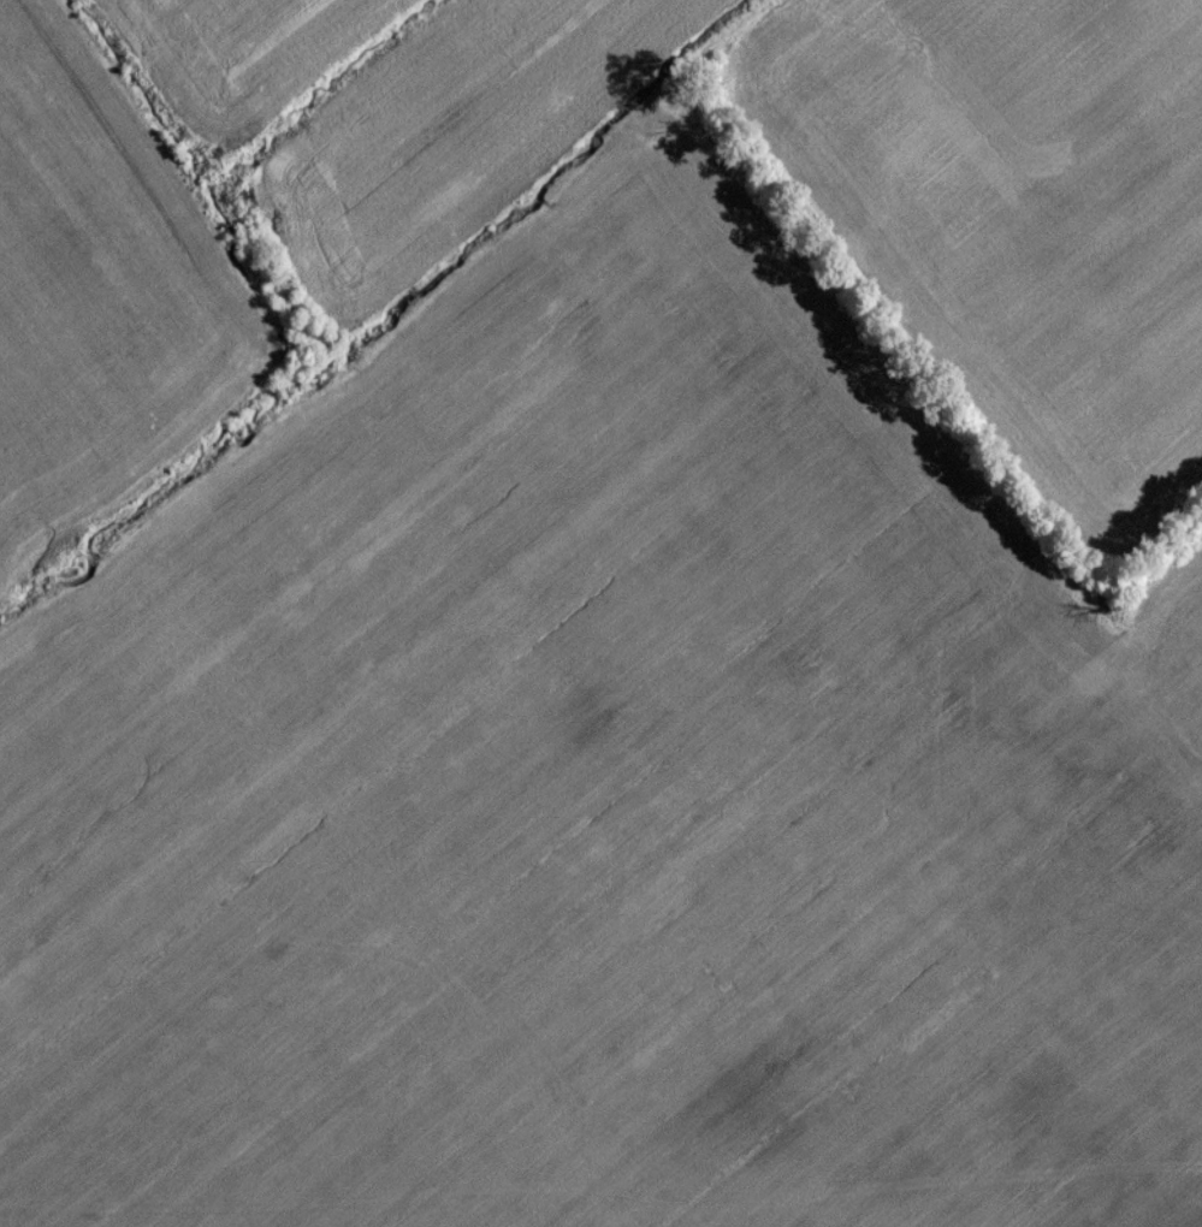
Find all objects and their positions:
road: (720, 35)

